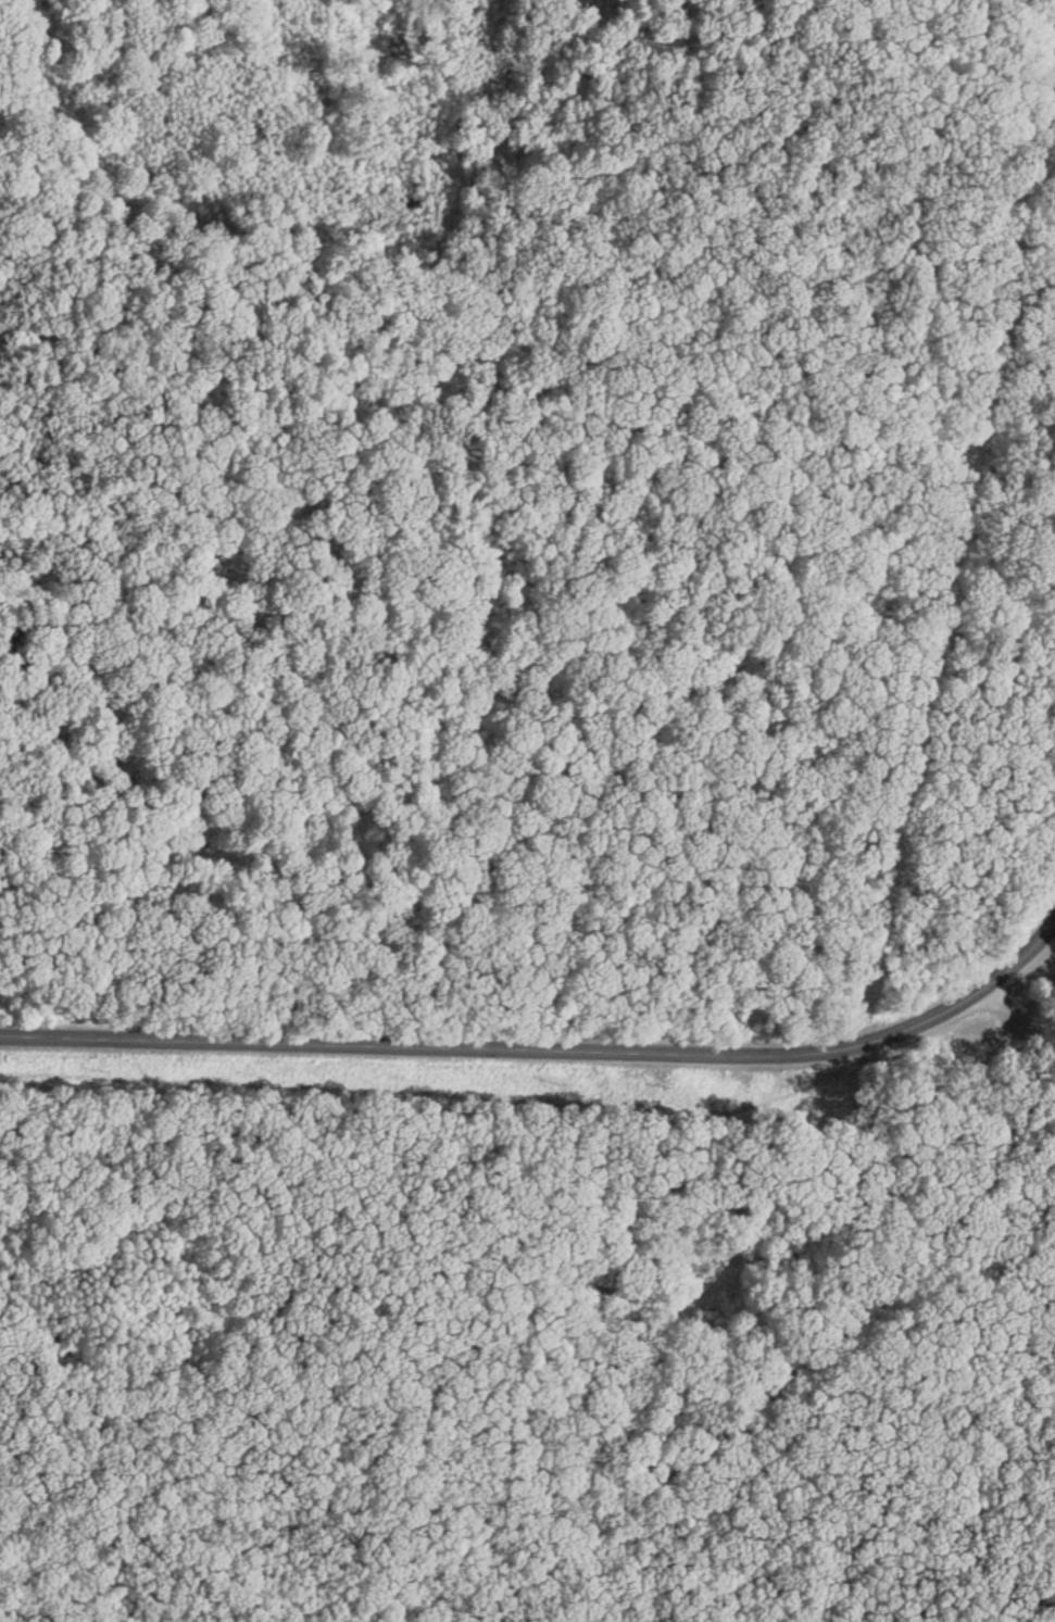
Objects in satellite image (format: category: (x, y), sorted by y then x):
road: (581, 574)
road: (1014, 963)
road: (1040, 1034)
road: (1029, 1040)
road: (489, 1046)
road: (773, 1386)

